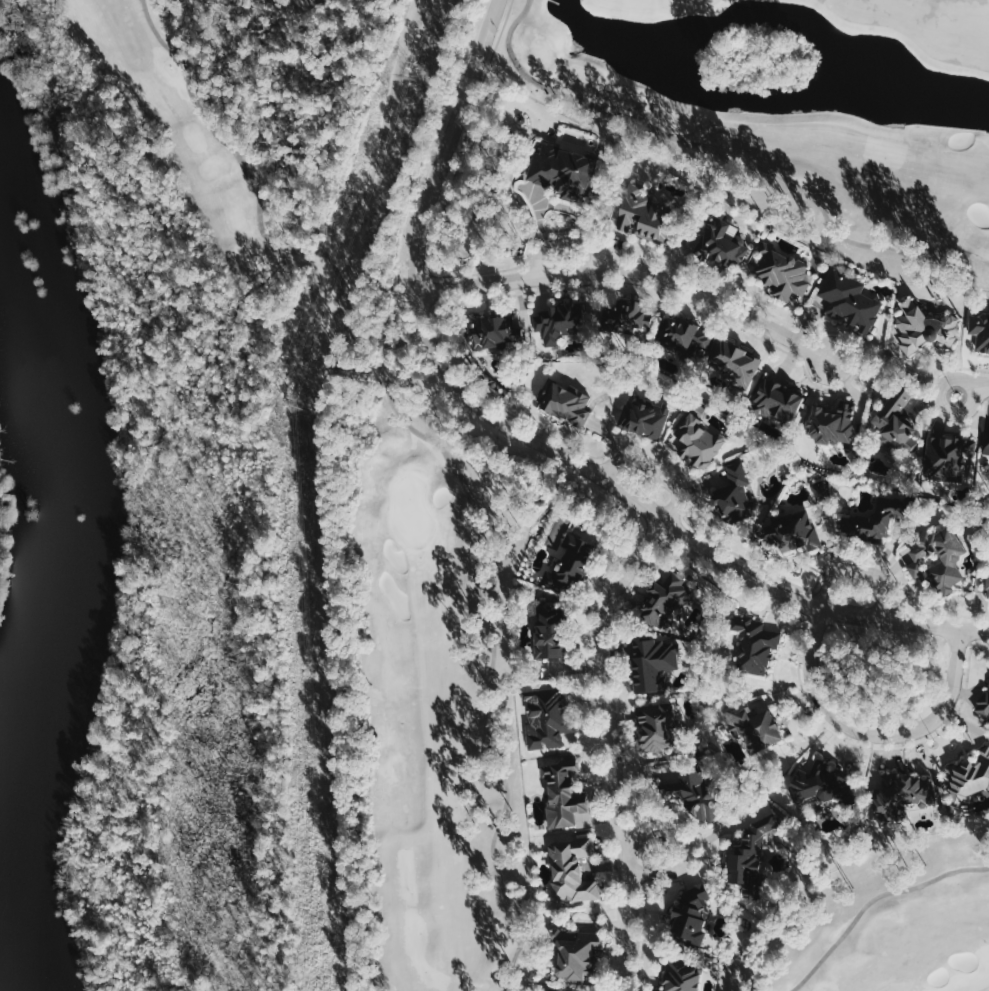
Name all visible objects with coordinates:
park: (651, 8)
park: (923, 28)
power tower: (412, 75)
road: (460, 146)
road: (723, 156)
park: (782, 158)
building: (558, 171)
building: (639, 213)
road: (566, 243)
building: (723, 244)
road: (633, 268)
building: (782, 272)
building: (849, 300)
building: (625, 318)
building: (558, 323)
building: (923, 325)
building: (980, 330)
building: (496, 332)
building: (683, 335)
road: (857, 358)
building: (733, 362)
road: (973, 392)
building: (776, 400)
road: (927, 400)
building: (565, 402)
power tower: (298, 403)
building: (644, 417)
building: (830, 422)
building: (897, 423)
building: (697, 438)
road: (534, 439)
building: (983, 442)
road: (627, 447)
road: (442, 448)
building: (947, 456)
road: (654, 472)
building: (733, 496)
park: (366, 499)
building: (871, 526)
building: (794, 531)
building: (935, 558)
road: (870, 560)
building: (567, 563)
road: (857, 571)
building: (987, 585)
building: (663, 599)
road: (943, 612)
building: (541, 628)
road: (969, 643)
building: (753, 644)
building: (652, 663)
building: (981, 701)
building: (546, 719)
building: (652, 726)
building: (752, 726)
road: (620, 730)
road: (874, 733)
road: (859, 743)
road: (610, 747)
road: (599, 765)
building: (967, 779)
building: (690, 792)
building: (561, 793)
building: (901, 795)
road: (688, 849)
building: (748, 852)
building: (570, 869)
road: (871, 899)
building: (688, 915)
park: (878, 919)
building: (573, 953)
building: (680, 975)

